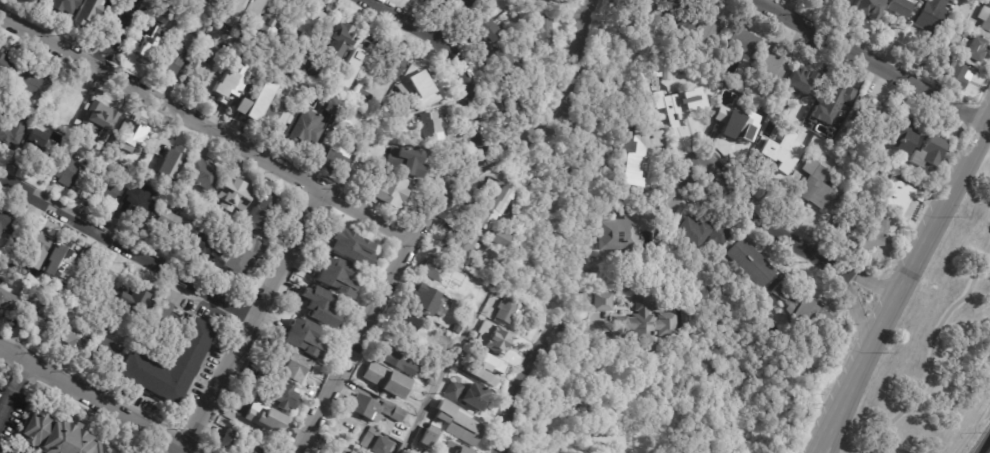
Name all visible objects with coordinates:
building: (29, 0)
building: (218, 0)
building: (38, 1)
building: (434, 1)
building: (652, 1)
road: (584, 2)
building: (829, 2)
building: (59, 6)
building: (900, 7)
building: (865, 8)
building: (461, 9)
building: (84, 12)
road: (581, 12)
building: (236, 13)
building: (930, 15)
building: (680, 17)
building: (270, 19)
building: (290, 19)
building: (984, 22)
building: (708, 27)
building: (307, 28)
building: (487, 30)
building: (198, 31)
building: (542, 32)
road: (113, 33)
building: (153, 37)
building: (742, 40)
building: (975, 48)
building: (329, 52)
building: (174, 59)
road: (454, 59)
road: (872, 63)
building: (772, 64)
building: (504, 65)
building: (198, 67)
building: (391, 67)
building: (4, 70)
building: (348, 70)
building: (666, 70)
building: (956, 73)
building: (419, 75)
building: (800, 78)
building: (30, 81)
building: (228, 84)
building: (8, 95)
building: (366, 95)
building: (252, 103)
building: (831, 103)
building: (513, 104)
building: (678, 104)
building: (779, 106)
building: (330, 108)
building: (539, 110)
building: (870, 113)
building: (275, 114)
building: (97, 117)
building: (737, 124)
road: (205, 127)
building: (302, 129)
building: (432, 129)
building: (899, 132)
building: (129, 133)
building: (10, 134)
building: (36, 148)
building: (338, 148)
building: (926, 150)
building: (782, 151)
building: (171, 154)
building: (636, 155)
building: (405, 164)
building: (69, 171)
building: (198, 175)
building: (353, 177)
building: (815, 184)
building: (860, 187)
building: (107, 188)
building: (391, 192)
building: (231, 194)
building: (895, 196)
building: (133, 208)
building: (490, 209)
building: (258, 218)
road: (428, 219)
road: (768, 222)
building: (6, 223)
building: (169, 227)
building: (623, 230)
building: (702, 230)
building: (868, 233)
building: (497, 238)
building: (461, 245)
building: (206, 246)
road: (126, 248)
building: (31, 249)
building: (349, 249)
building: (243, 256)
building: (749, 261)
building: (65, 263)
building: (433, 271)
building: (100, 275)
building: (335, 279)
road: (867, 281)
building: (1, 284)
road: (902, 286)
building: (424, 299)
building: (600, 300)
building: (7, 303)
building: (130, 304)
building: (800, 307)
road: (854, 307)
building: (319, 308)
building: (506, 310)
building: (36, 316)
building: (164, 318)
road: (251, 318)
building: (407, 322)
building: (646, 326)
building: (68, 335)
building: (492, 336)
building: (302, 340)
road: (929, 351)
building: (104, 353)
building: (397, 360)
building: (478, 363)
building: (168, 367)
road: (442, 369)
building: (292, 370)
road: (23, 375)
building: (384, 381)
road: (519, 385)
road: (14, 387)
building: (467, 392)
road: (96, 399)
building: (282, 399)
road: (6, 401)
building: (363, 407)
building: (392, 411)
building: (225, 412)
building: (267, 420)
building: (458, 422)
road: (840, 423)
building: (58, 436)
building: (228, 440)
building: (373, 441)
building: (423, 443)
road: (985, 446)
building: (265, 448)
building: (339, 448)
road: (178, 449)
building: (410, 450)
building: (451, 450)

